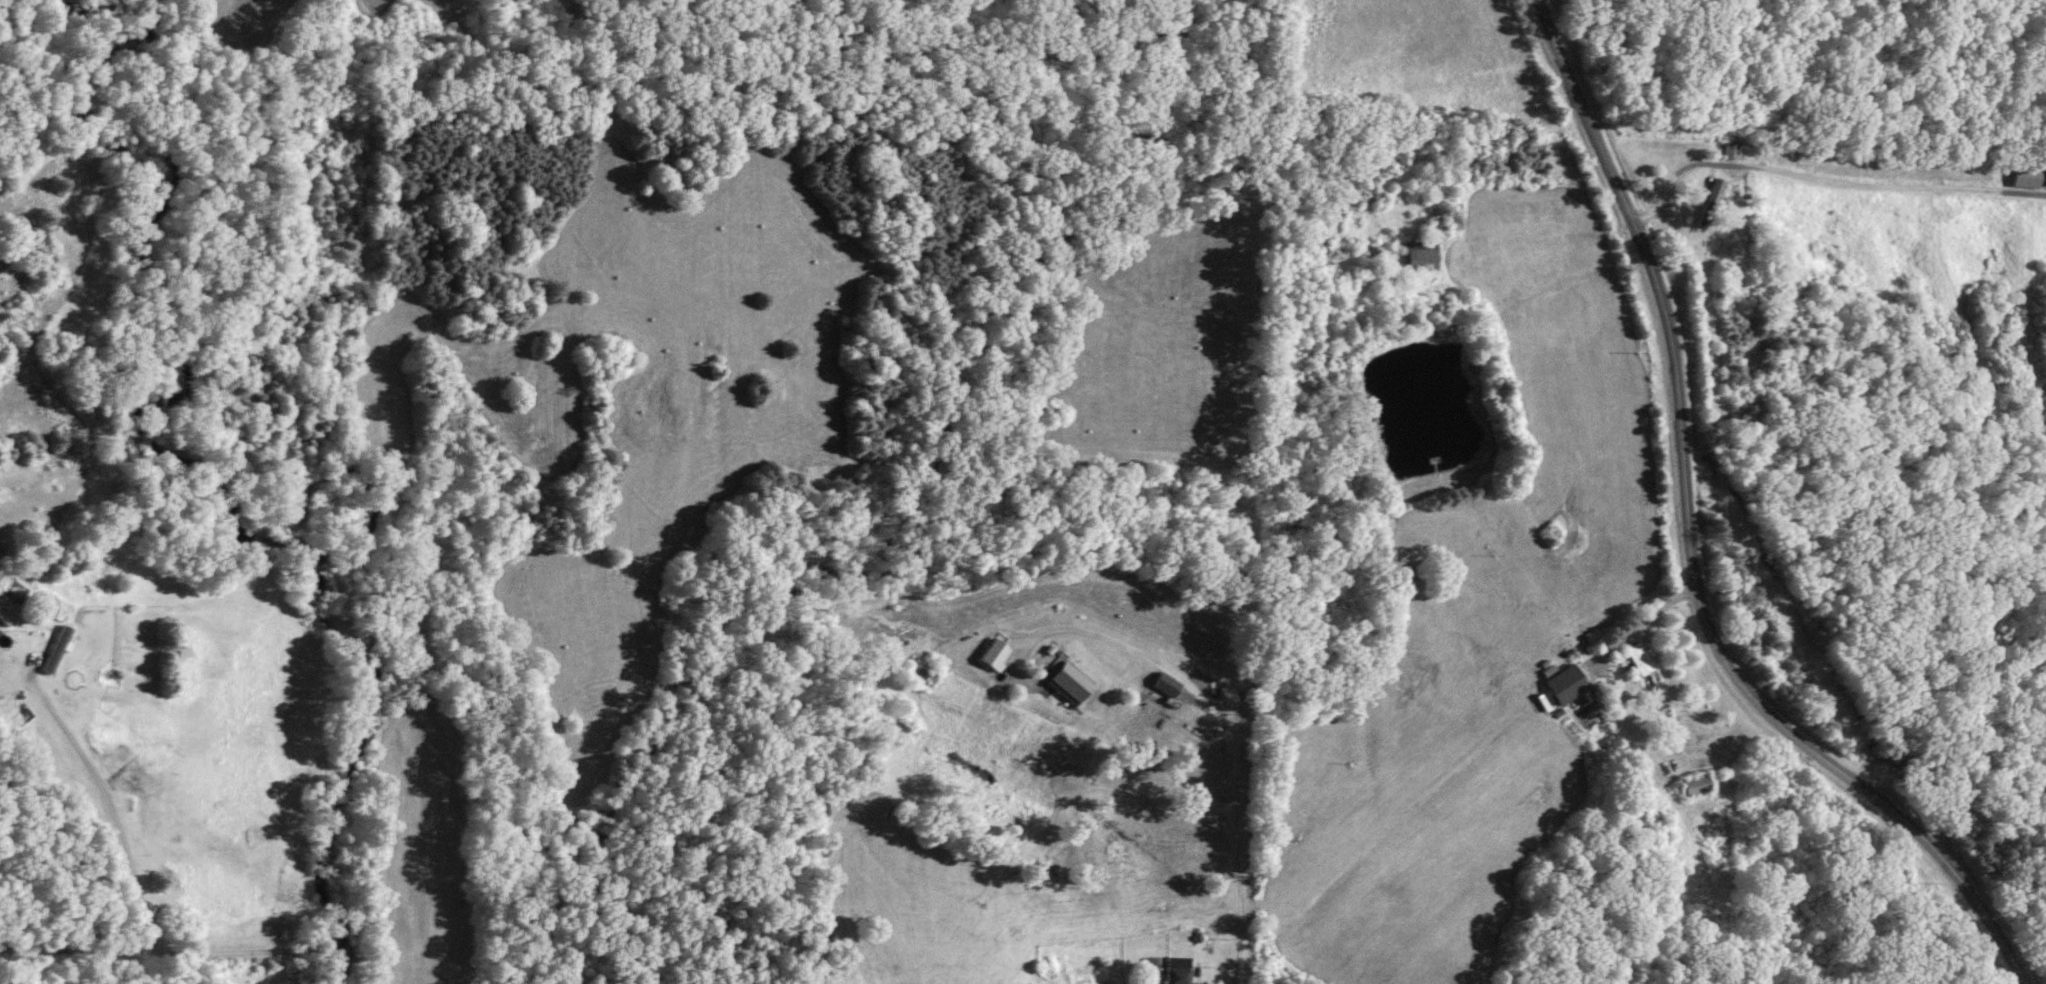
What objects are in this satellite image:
building: (1732, 152)
road: (1823, 181)
building: (2045, 184)
building: (1718, 198)
building: (1421, 256)
road: (1693, 545)
road: (1648, 625)
building: (57, 649)
building: (1640, 659)
building: (1071, 684)
building: (1568, 684)
building: (1167, 685)
road: (1234, 723)
building: (1697, 785)
road: (129, 865)
building: (1177, 970)

